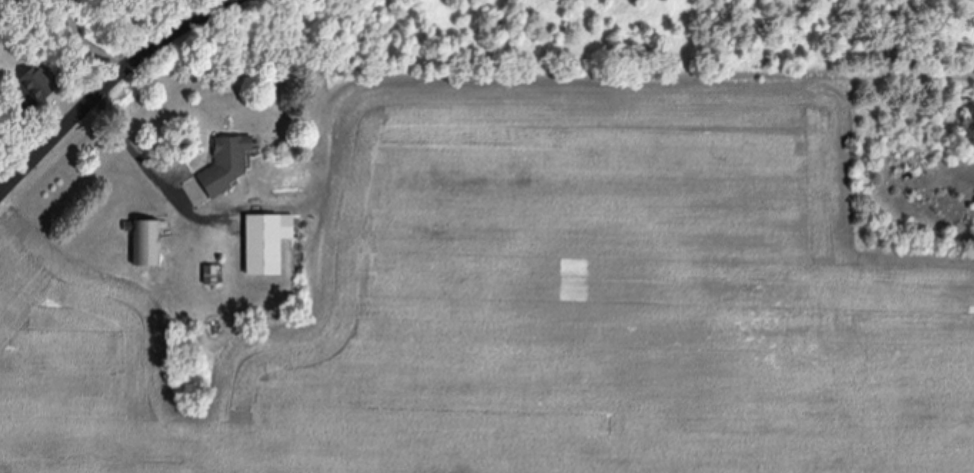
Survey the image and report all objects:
road: (104, 78)
building: (230, 164)
building: (148, 241)
building: (268, 242)
crop: (532, 287)

